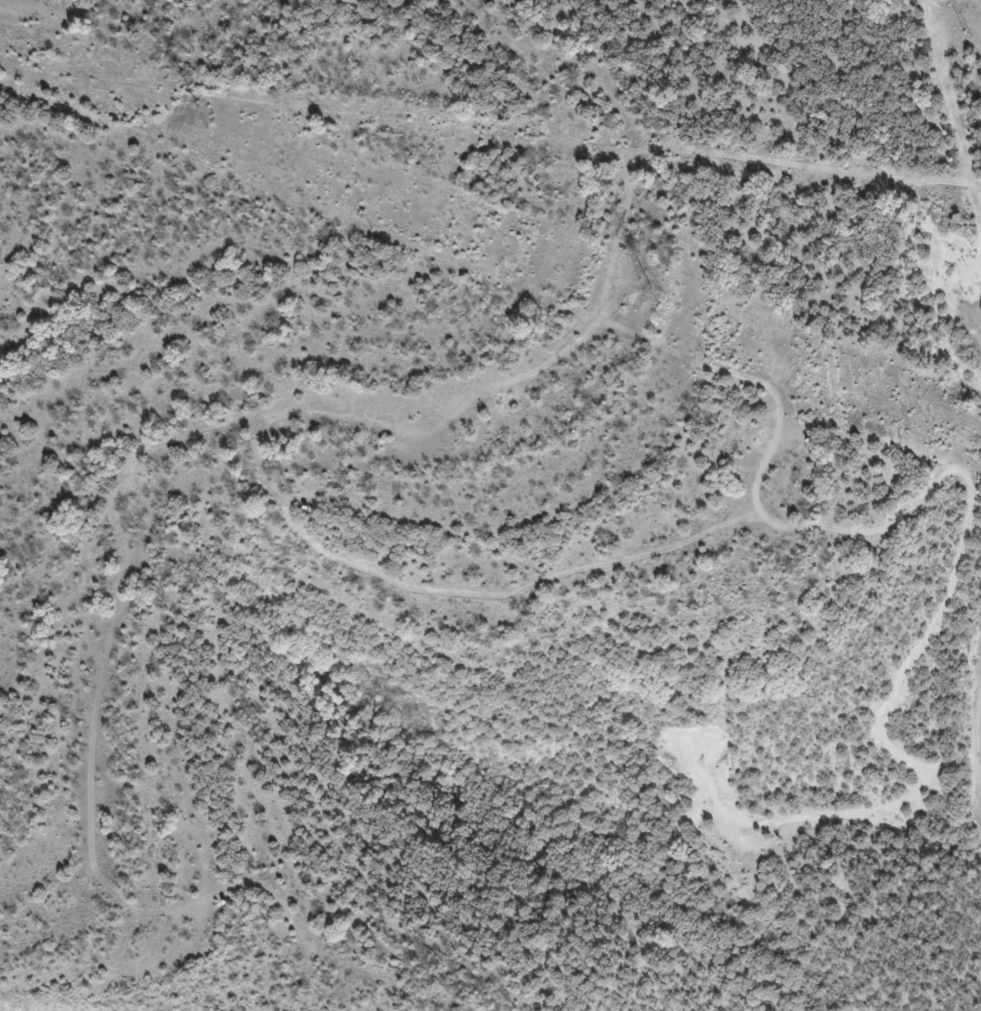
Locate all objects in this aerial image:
power tower: (203, 122)
power tower: (658, 301)

